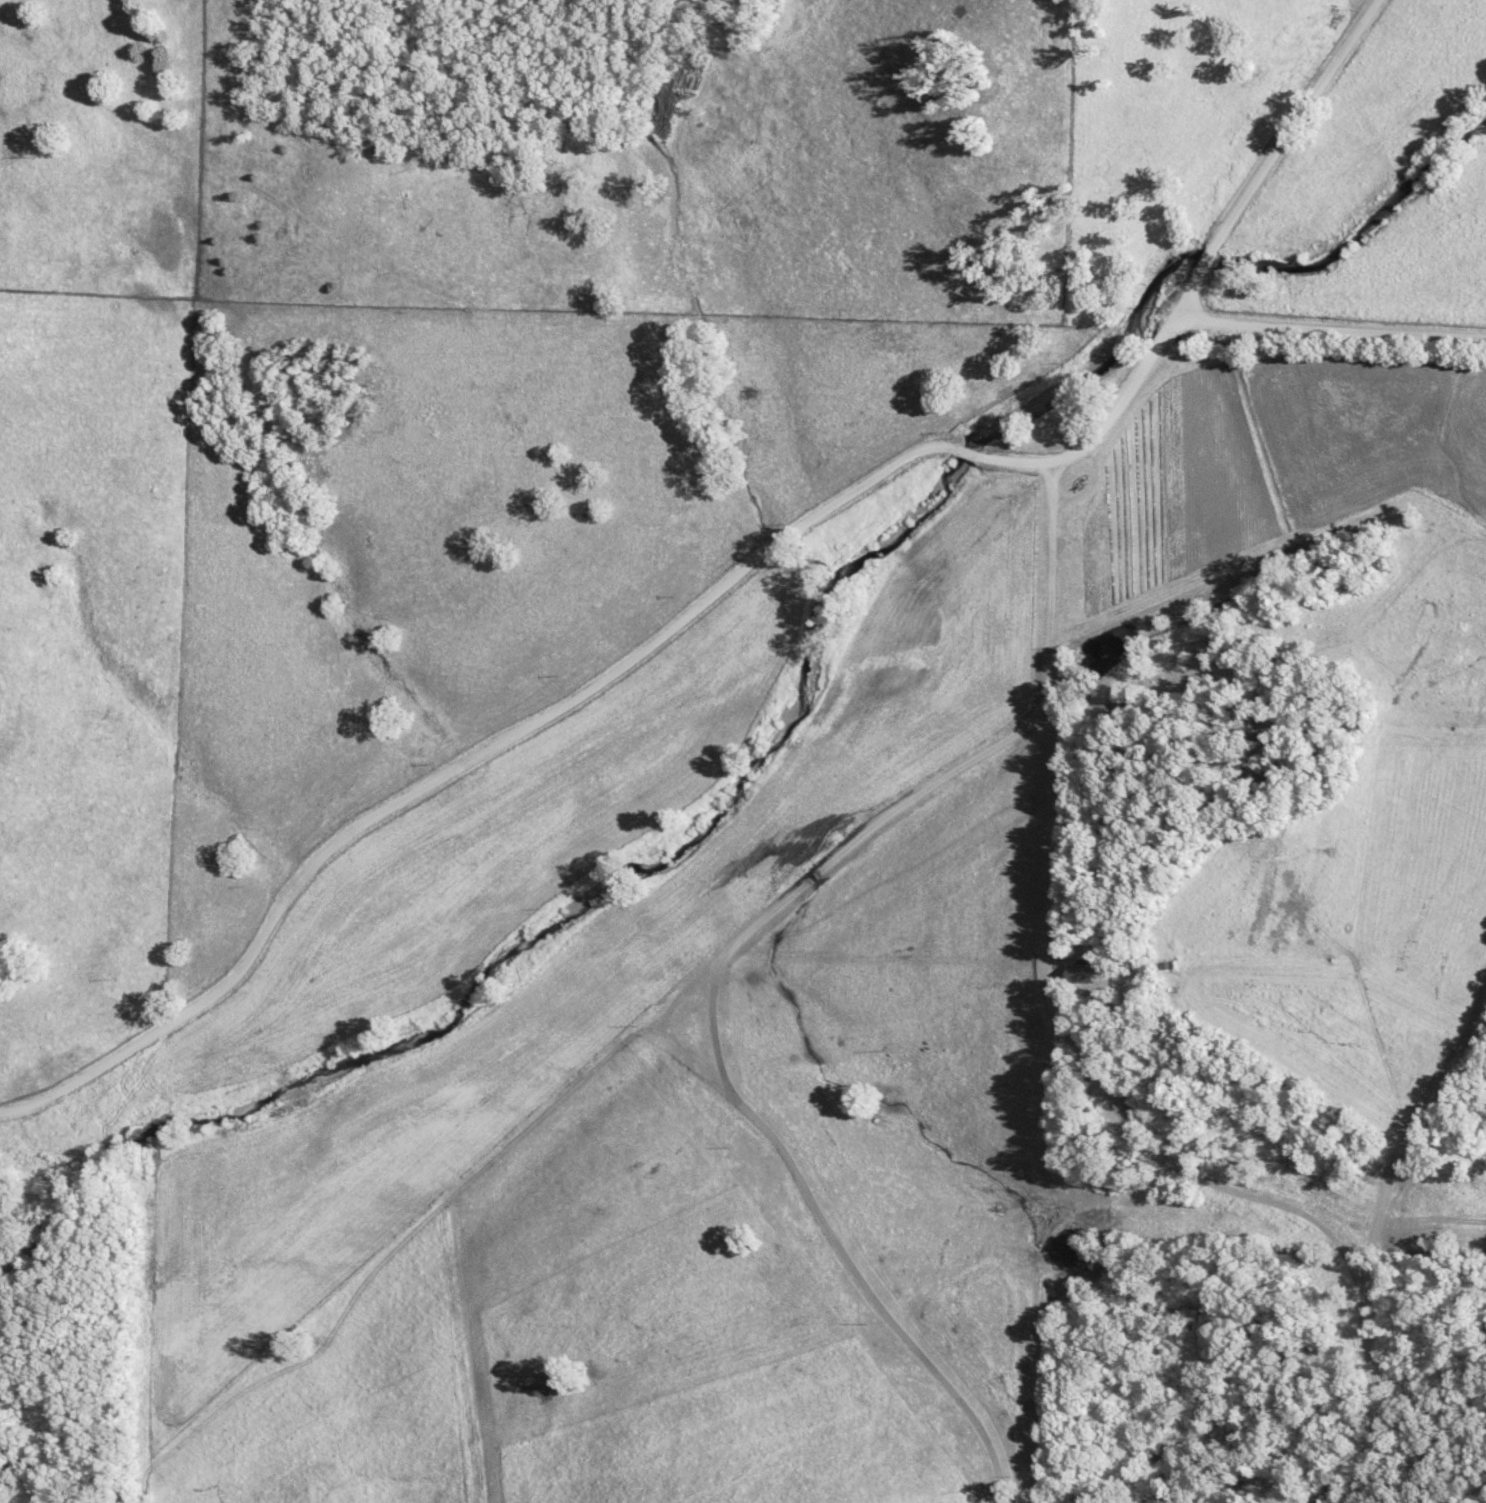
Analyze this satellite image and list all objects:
road: (1270, 159)
road: (1360, 229)
road: (711, 596)
road: (712, 968)
road: (729, 1041)

